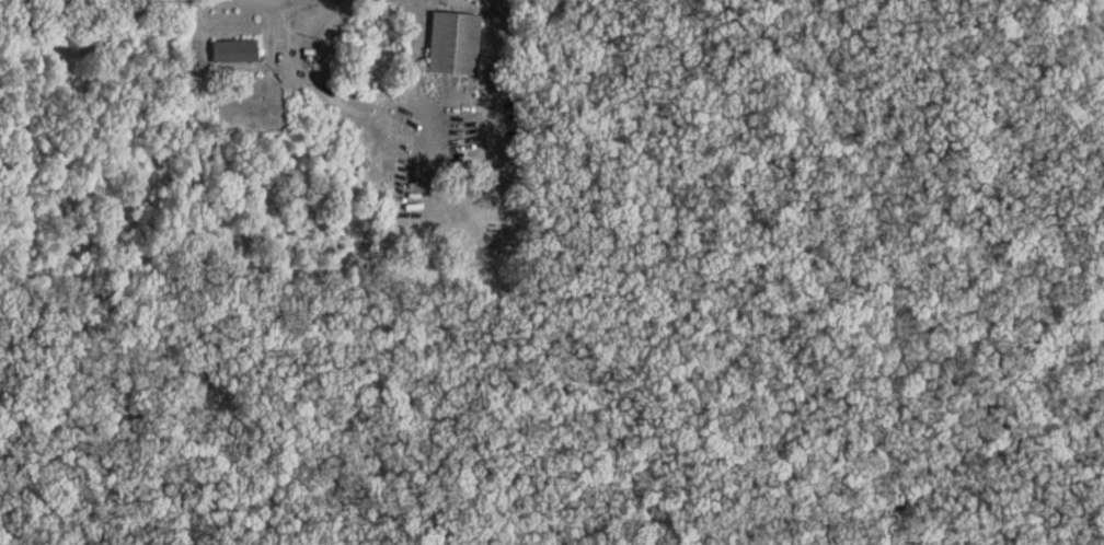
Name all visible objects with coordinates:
road: (142, 7)
building: (456, 43)
building: (237, 50)

